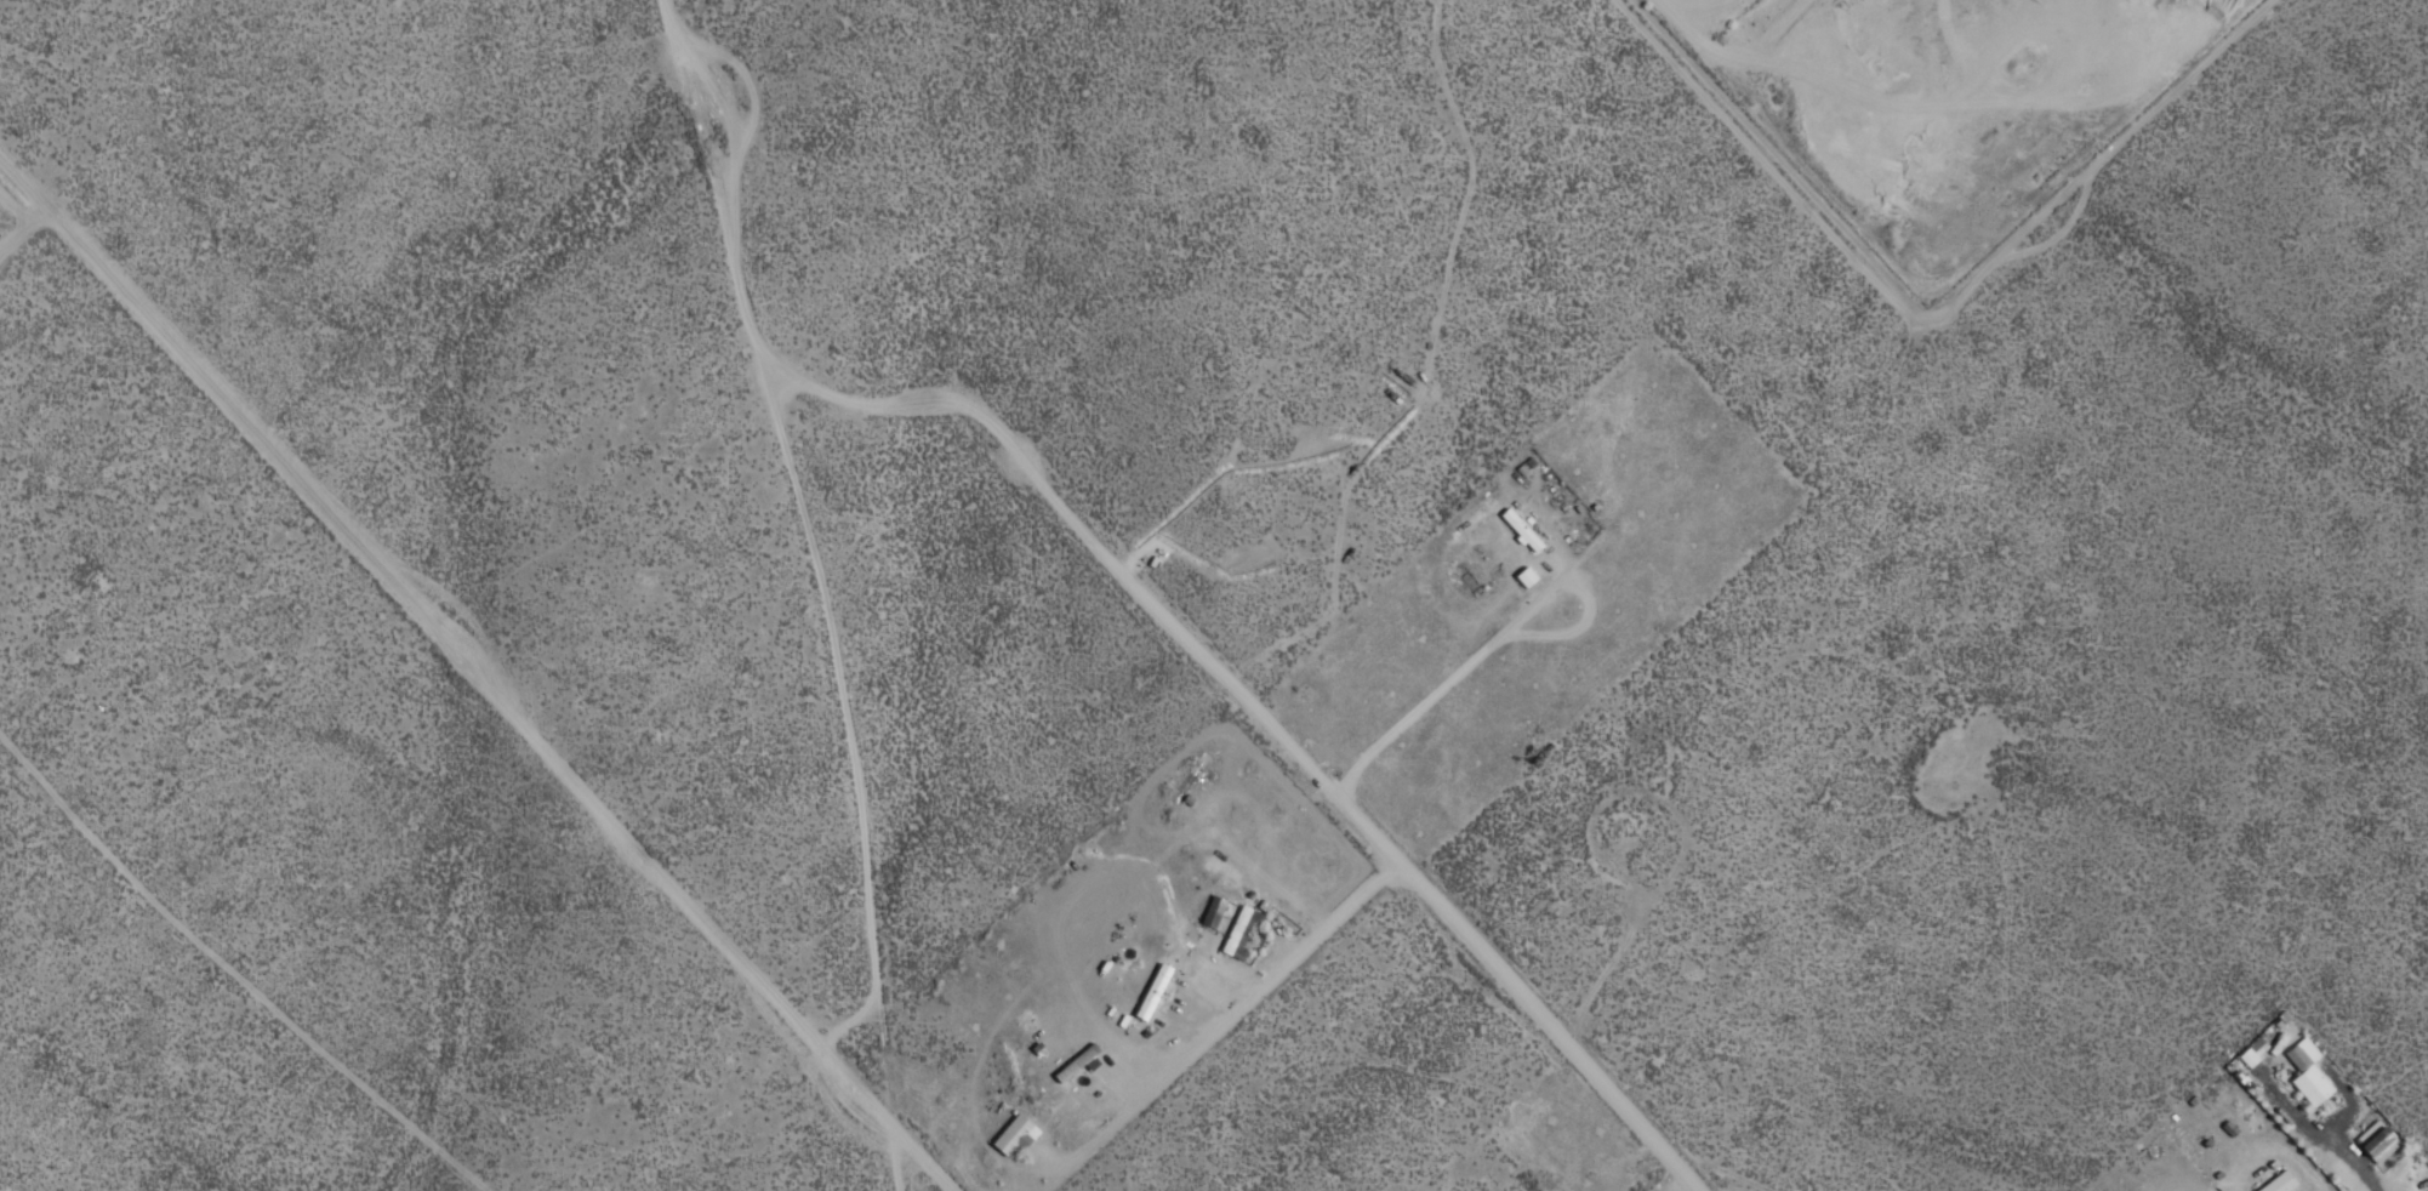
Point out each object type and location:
landfill: (1934, 110)
building: (1520, 530)
building: (1524, 577)
road: (473, 678)
building: (1212, 911)
building: (1239, 930)
road: (1474, 950)
building: (1152, 991)
building: (2307, 1071)
building: (1015, 1134)
building: (2377, 1140)
building: (2279, 1181)

